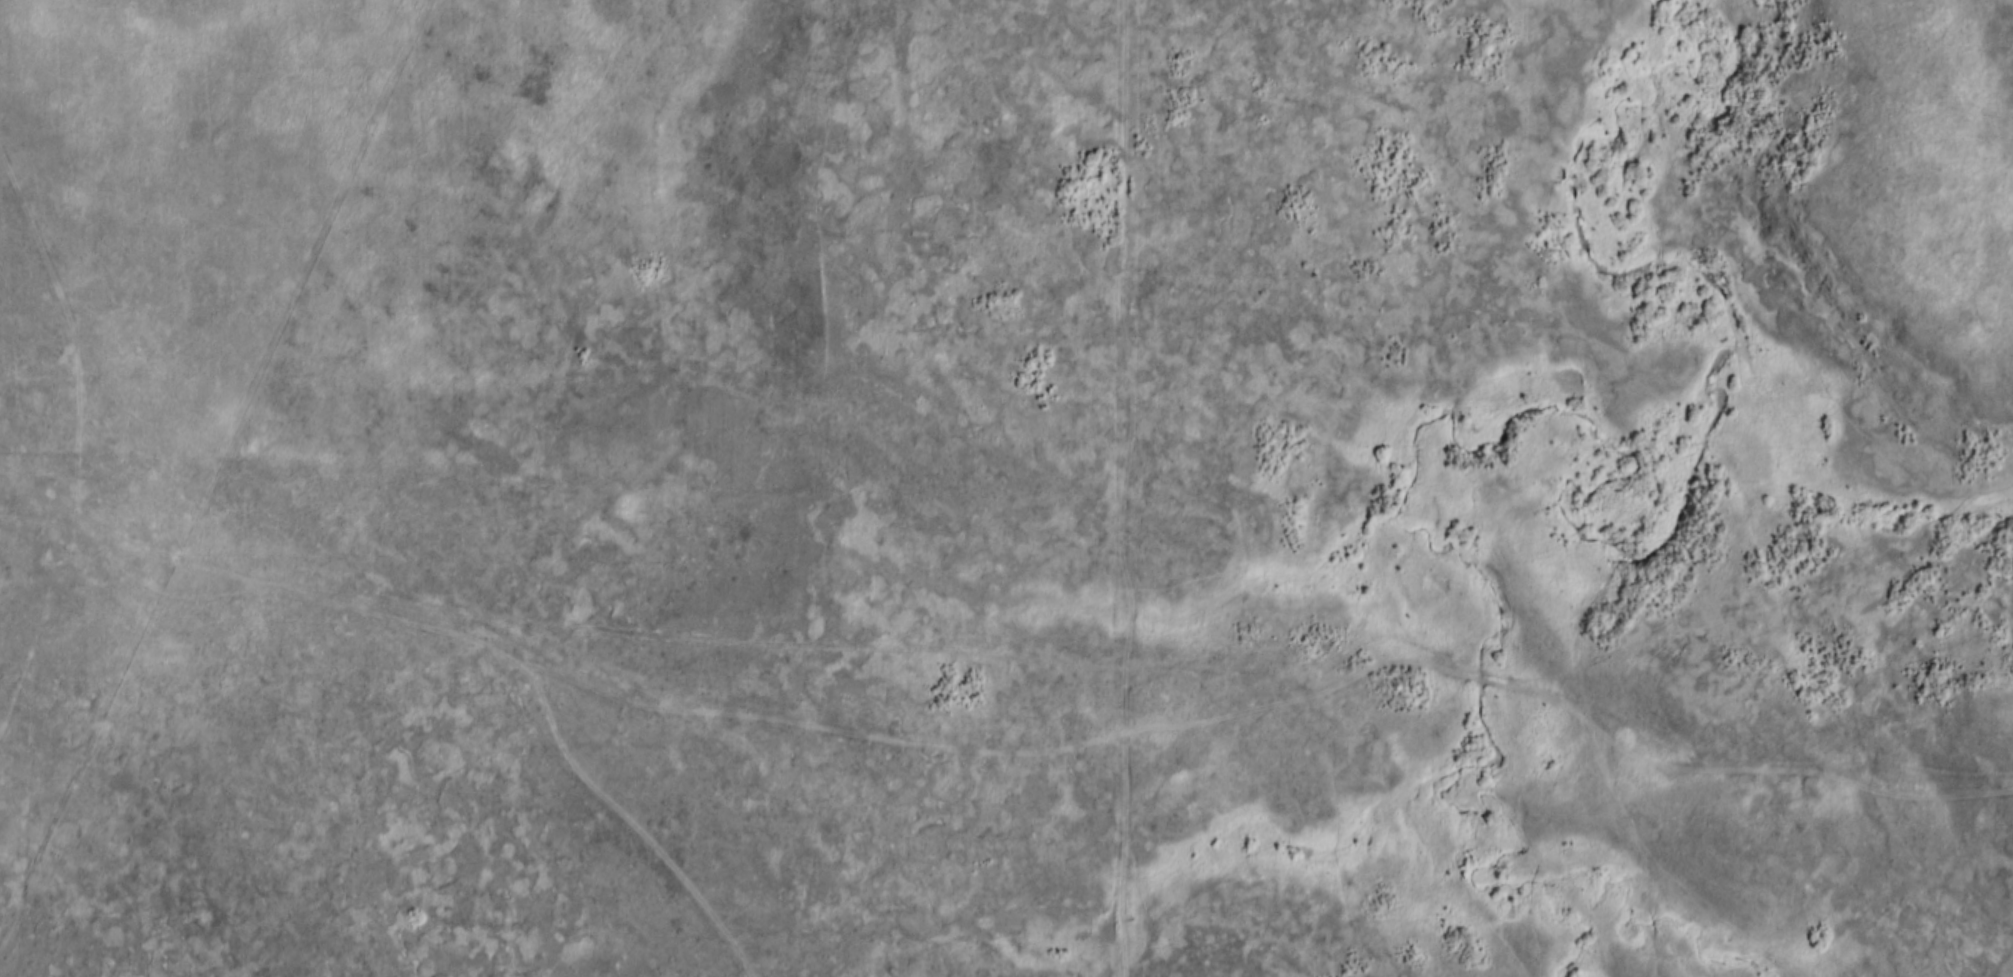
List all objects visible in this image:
road: (1126, 488)
road: (658, 847)

